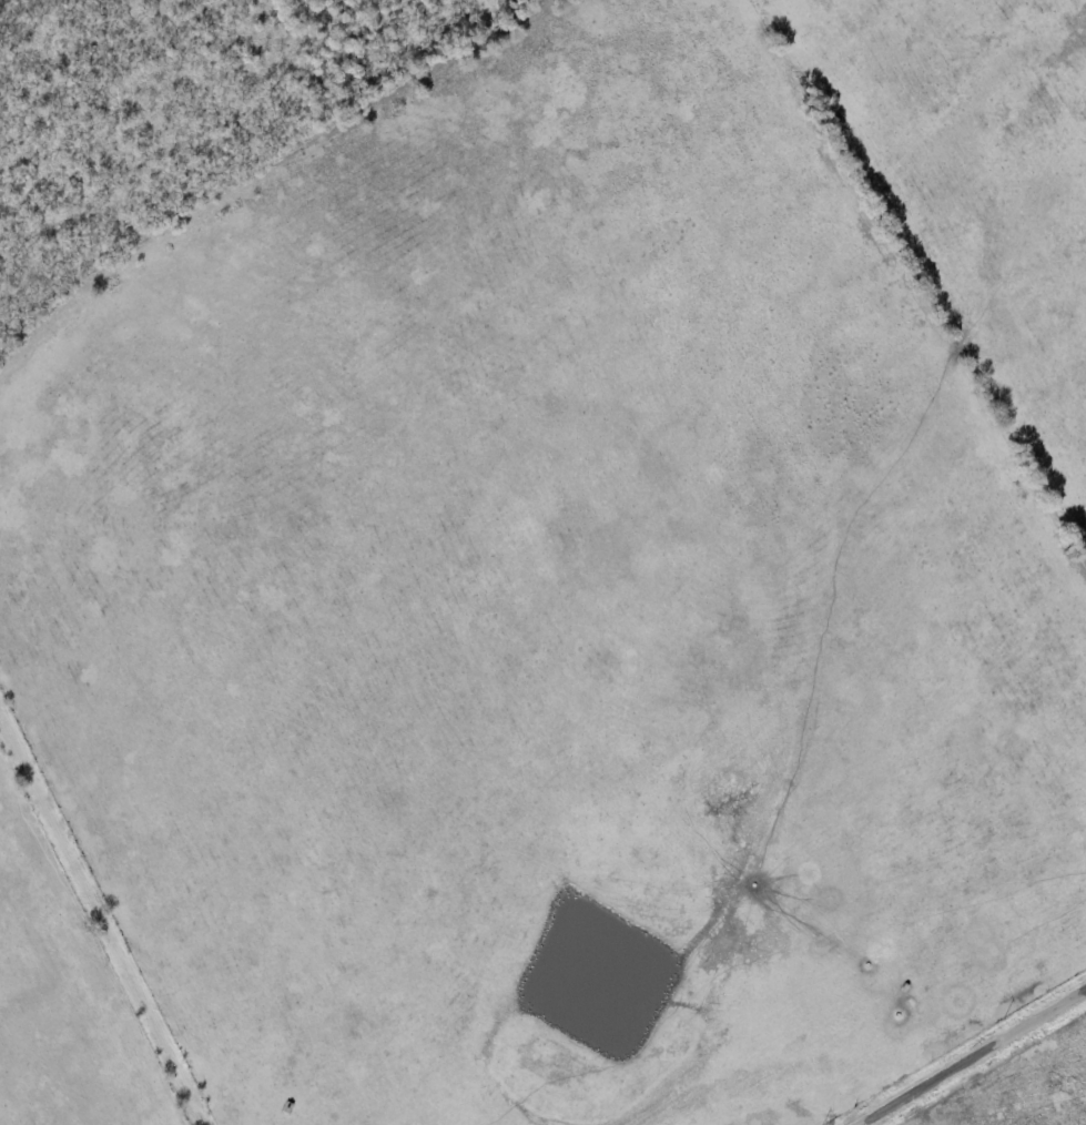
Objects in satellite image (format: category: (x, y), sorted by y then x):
road: (978, 1060)

